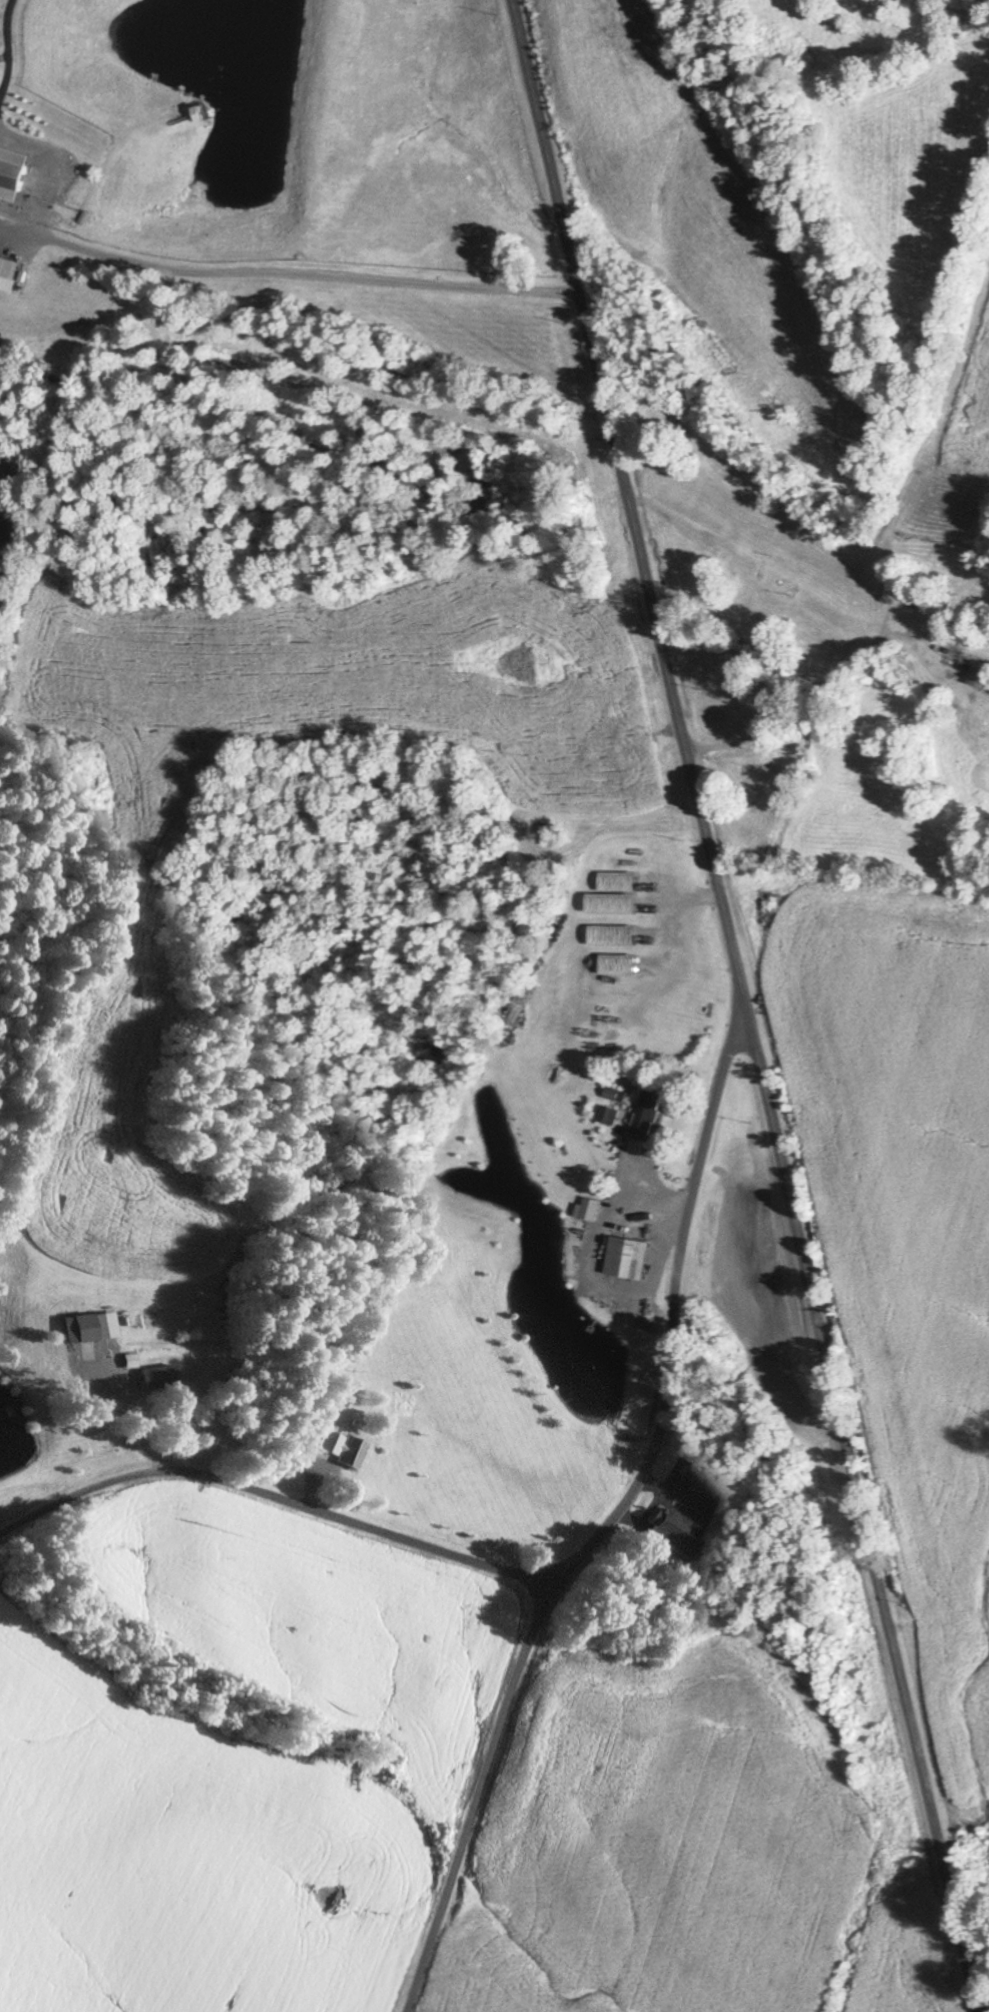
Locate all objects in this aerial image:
building: (16, 175)
building: (9, 275)
road: (767, 452)
building: (980, 677)
road: (866, 905)
road: (748, 1005)
building: (616, 1095)
building: (648, 1113)
building: (610, 1116)
building: (589, 1210)
building: (628, 1259)
building: (89, 1328)
building: (128, 1362)
building: (155, 1377)
building: (326, 1409)
building: (340, 1449)
road: (294, 1503)
road: (611, 1524)
building: (671, 1532)
road: (535, 1597)

